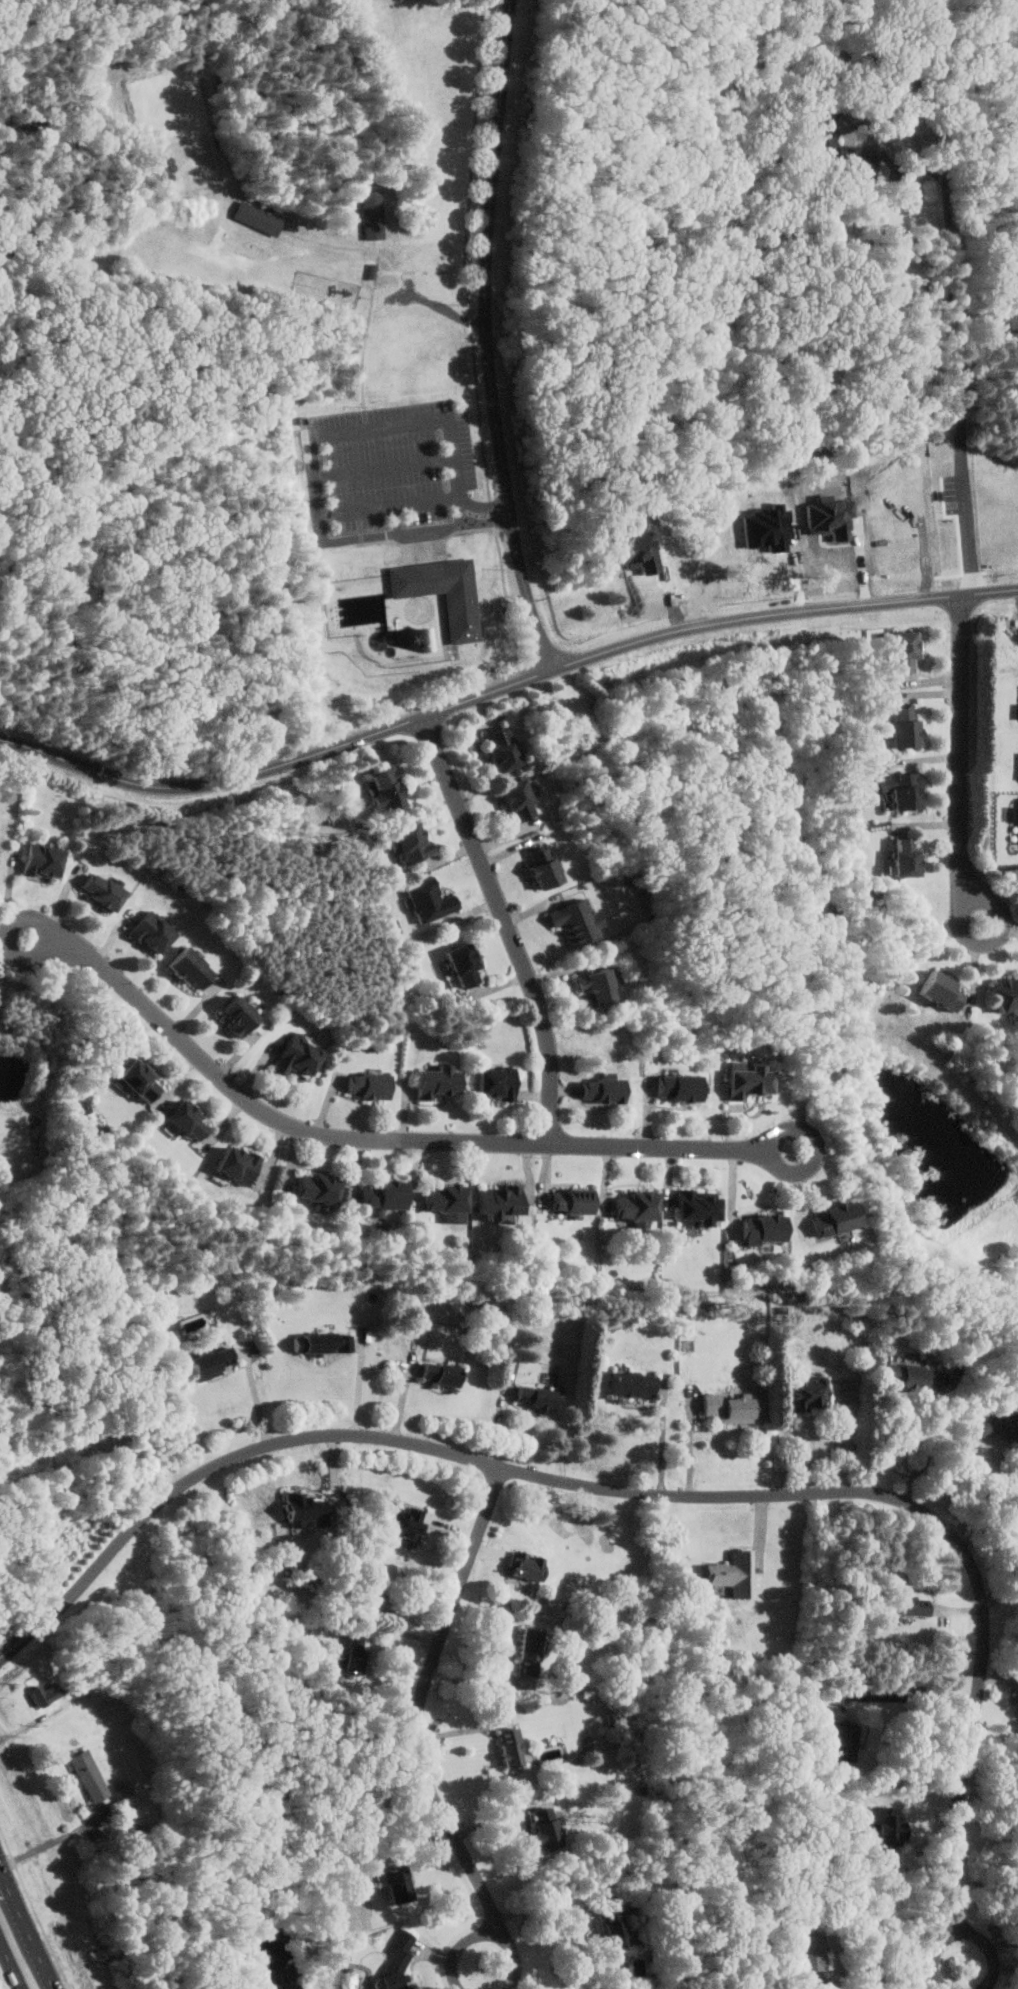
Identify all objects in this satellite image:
building: (824, 124)
building: (377, 215)
building: (262, 218)
park: (431, 317)
road: (951, 335)
road: (488, 338)
road: (147, 420)
road: (313, 460)
road: (385, 463)
parking lot: (395, 476)
road: (390, 502)
road: (486, 504)
road: (489, 519)
building: (445, 592)
building: (910, 651)
road: (503, 687)
building: (912, 727)
building: (509, 750)
road: (963, 760)
building: (394, 790)
building: (908, 791)
building: (526, 800)
building: (416, 843)
building: (913, 859)
building: (49, 861)
building: (550, 867)
building: (109, 891)
building: (436, 900)
building: (582, 921)
road: (508, 924)
building: (158, 932)
building: (470, 965)
building: (197, 969)
building: (605, 987)
building: (946, 988)
building: (1007, 992)
building: (245, 1017)
building: (304, 1057)
building: (144, 1080)
building: (756, 1081)
building: (443, 1083)
building: (504, 1083)
building: (374, 1086)
building: (686, 1088)
building: (610, 1091)
building: (194, 1121)
road: (439, 1139)
building: (243, 1165)
building: (324, 1191)
building: (390, 1196)
building: (453, 1198)
building: (579, 1201)
building: (507, 1202)
building: (644, 1206)
building: (706, 1209)
building: (829, 1220)
building: (765, 1229)
building: (325, 1343)
building: (210, 1363)
building: (439, 1373)
building: (915, 1377)
building: (632, 1385)
road: (361, 1387)
building: (809, 1393)
building: (535, 1397)
road: (260, 1400)
building: (731, 1408)
building: (993, 1421)
road: (935, 1443)
road: (784, 1446)
road: (642, 1493)
road: (992, 1498)
building: (304, 1509)
building: (406, 1517)
building: (526, 1566)
building: (731, 1574)
road: (1001, 1599)
building: (905, 1605)
building: (528, 1652)
building: (354, 1654)
building: (43, 1694)
road: (906, 1697)
road: (422, 1700)
building: (840, 1737)
building: (511, 1745)
building: (88, 1773)
road: (498, 1816)
building: (882, 1825)
building: (546, 1826)
road: (987, 1854)
building: (397, 1882)
road: (16, 1899)
road: (552, 1900)
building: (613, 1923)
road: (462, 1947)
building: (810, 1948)
road: (994, 1952)
road: (937, 1956)
road: (515, 1958)
road: (45, 1961)
road: (12, 1962)
building: (399, 1963)
road: (1007, 1966)
road: (925, 1977)
road: (824, 1988)

